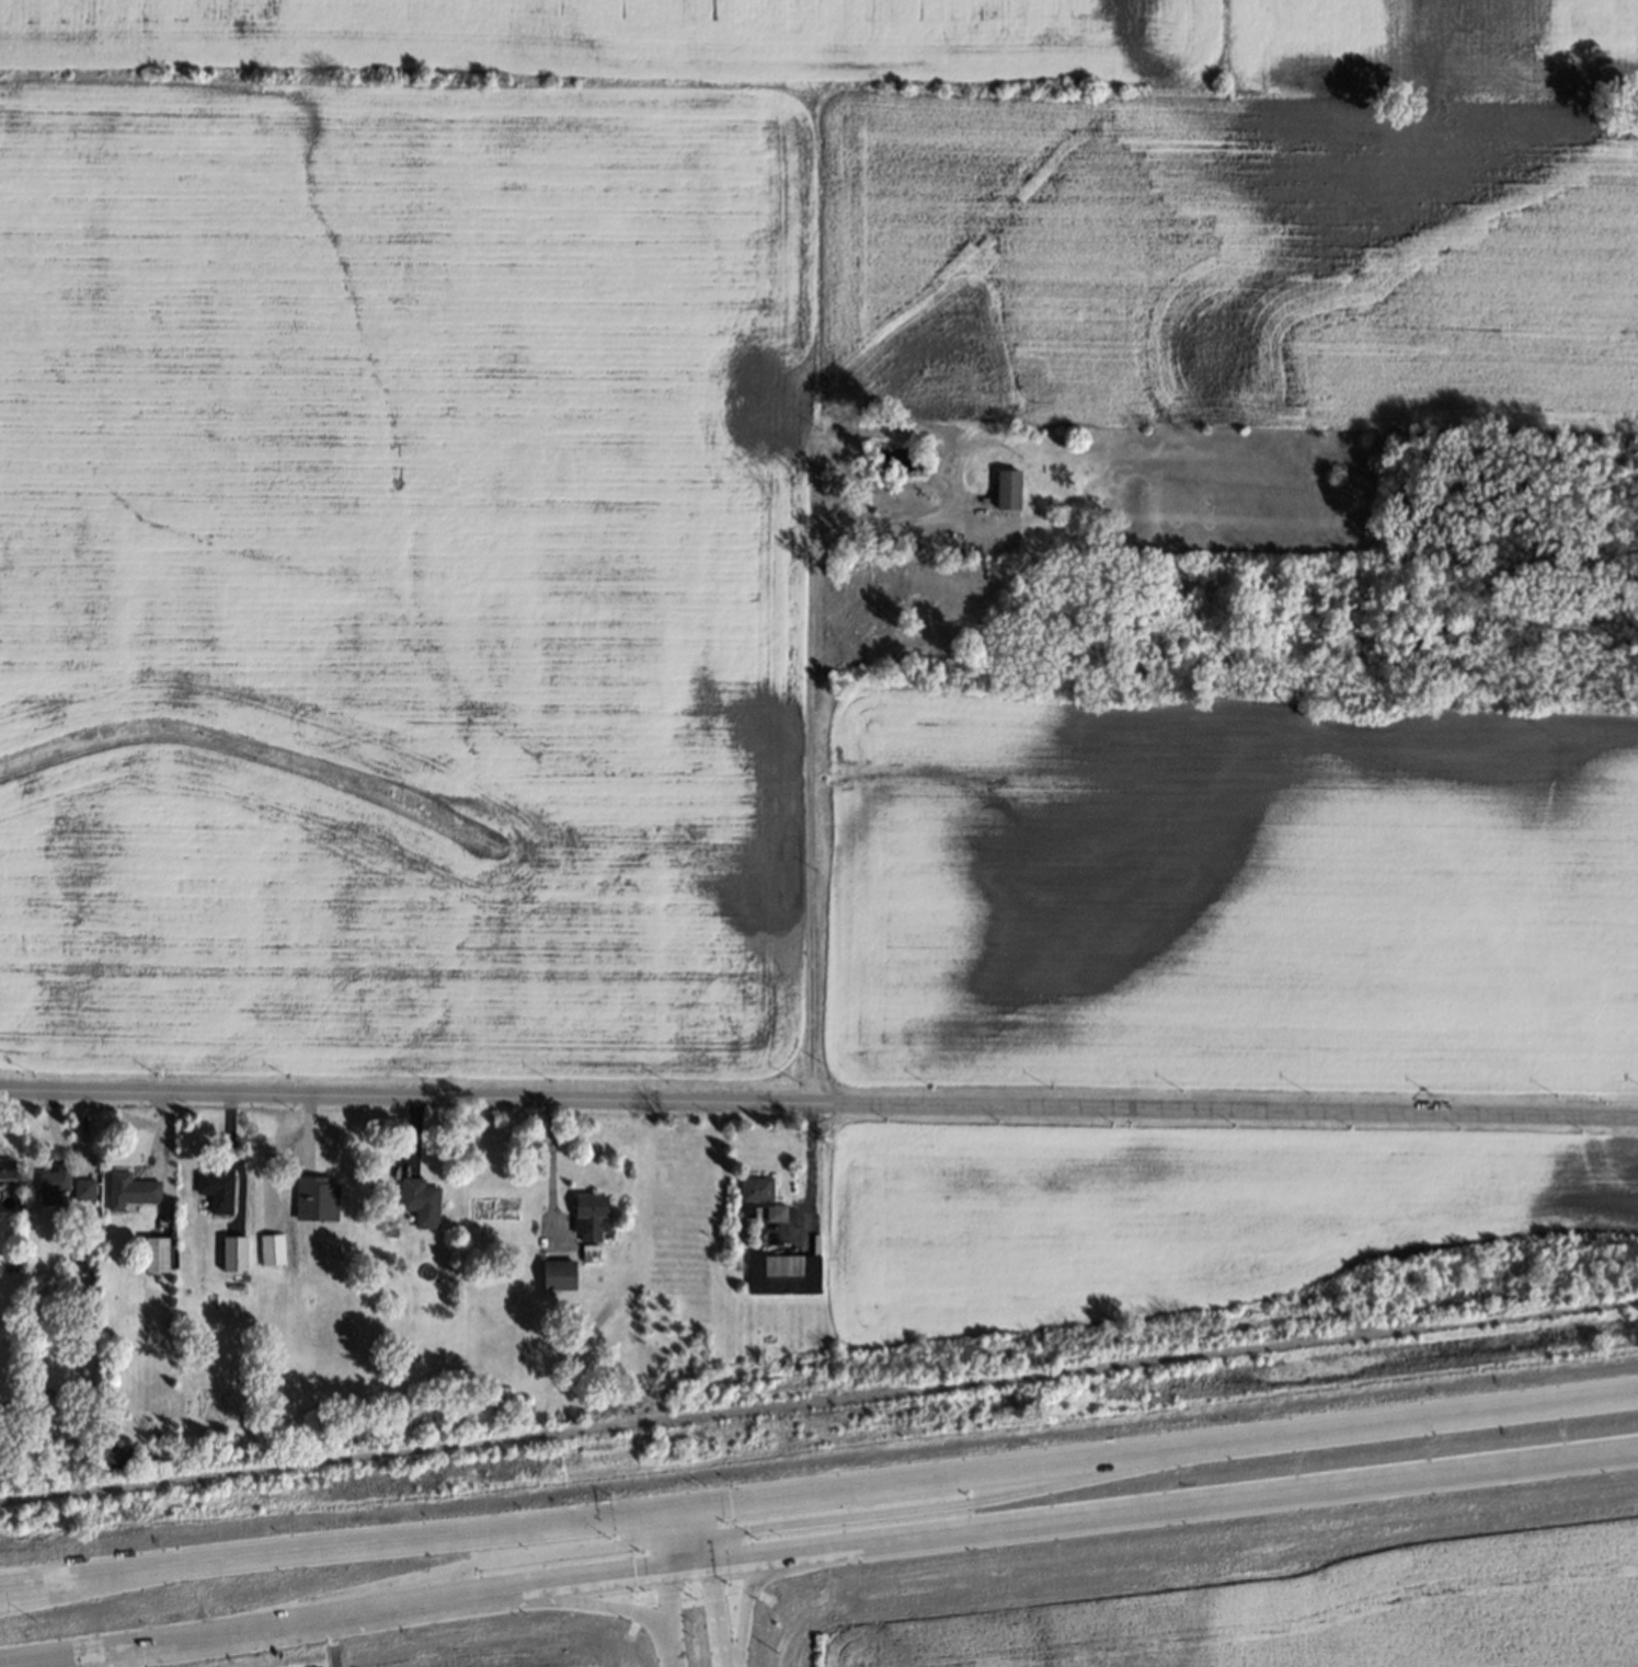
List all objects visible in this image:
building: (1009, 487)
crop: (769, 543)
road: (805, 739)
road: (818, 1103)
road: (814, 1166)
building: (7, 1168)
road: (550, 1171)
building: (54, 1184)
building: (84, 1188)
building: (131, 1189)
building: (218, 1191)
building: (764, 1195)
building: (317, 1197)
building: (421, 1202)
building: (592, 1214)
building: (273, 1249)
building: (156, 1253)
building: (234, 1253)
building: (560, 1274)
road: (1158, 1447)
traffic signals: (720, 1501)
road: (1206, 1501)
road: (958, 1504)
road: (688, 1521)
traffic signals: (747, 1530)
road: (340, 1543)
traffic signals: (616, 1545)
road: (674, 1547)
road: (702, 1550)
road: (742, 1559)
road: (457, 1566)
road: (685, 1566)
traffic signals: (644, 1572)
road: (20, 1579)
crop: (1129, 1599)
traffic signals: (713, 1600)
road: (667, 1601)
road: (745, 1606)
road: (442, 1613)
road: (715, 1614)
road: (331, 1616)
road: (673, 1649)

